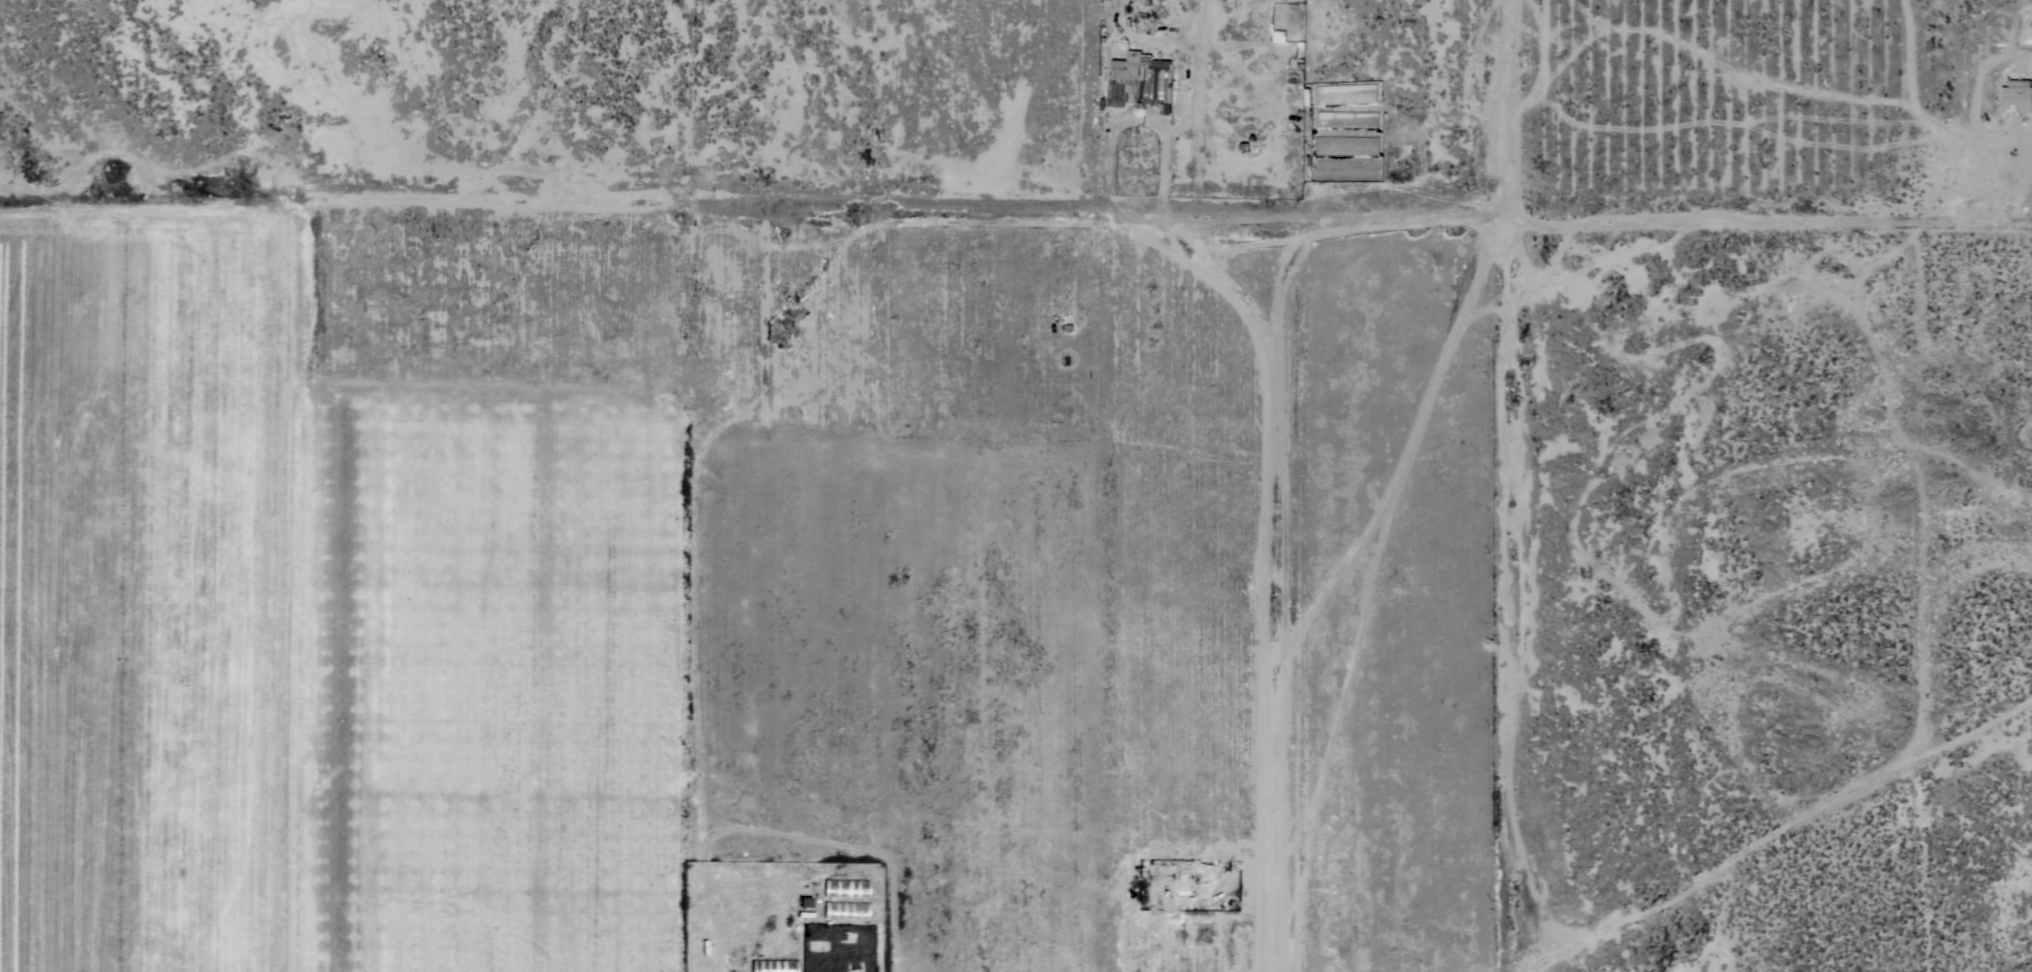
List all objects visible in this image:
building: (1279, 20)
building: (1140, 82)
building: (2017, 94)
road: (1506, 105)
road: (1164, 180)
road: (1770, 211)
road: (1261, 247)
crop: (306, 645)
building: (842, 889)
building: (843, 911)

